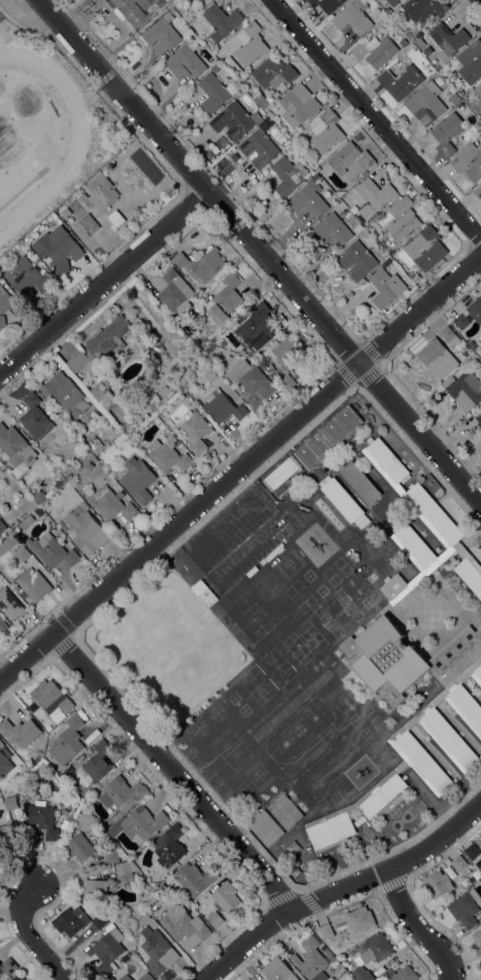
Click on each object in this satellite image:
building: (183, 0)
road: (480, 0)
building: (188, 1)
building: (159, 2)
building: (392, 2)
building: (327, 5)
building: (423, 9)
building: (130, 10)
building: (353, 18)
building: (222, 21)
building: (161, 35)
building: (447, 40)
building: (403, 43)
building: (250, 44)
power tower: (128, 51)
building: (375, 52)
building: (186, 60)
building: (471, 62)
building: (215, 67)
building: (274, 72)
building: (401, 82)
building: (478, 91)
building: (215, 93)
building: (461, 93)
building: (454, 99)
building: (263, 100)
building: (426, 104)
building: (459, 105)
building: (299, 106)
road: (375, 120)
building: (480, 120)
building: (235, 121)
building: (326, 132)
building: (447, 134)
building: (259, 148)
building: (350, 160)
building: (469, 161)
building: (288, 176)
building: (315, 178)
building: (478, 191)
building: (99, 195)
building: (374, 197)
building: (308, 201)
building: (62, 212)
building: (116, 219)
building: (402, 219)
building: (85, 227)
building: (332, 230)
building: (365, 233)
building: (58, 249)
building: (426, 249)
road: (260, 251)
building: (357, 261)
building: (202, 265)
building: (27, 277)
building: (417, 279)
road: (104, 282)
building: (386, 288)
building: (176, 294)
building: (5, 300)
building: (225, 300)
building: (475, 310)
building: (240, 311)
building: (2, 322)
building: (462, 322)
building: (256, 328)
building: (448, 336)
building: (203, 338)
building: (480, 338)
building: (102, 344)
building: (202, 344)
building: (473, 345)
building: (161, 349)
building: (270, 349)
building: (207, 350)
building: (242, 352)
building: (287, 352)
building: (434, 356)
building: (208, 374)
building: (279, 376)
building: (252, 384)
building: (178, 385)
building: (465, 390)
building: (65, 394)
building: (104, 396)
building: (223, 407)
building: (35, 418)
building: (479, 421)
building: (196, 431)
building: (329, 437)
building: (175, 442)
building: (95, 443)
building: (17, 452)
building: (168, 457)
building: (387, 460)
road: (240, 469)
building: (282, 473)
building: (68, 476)
building: (136, 479)
building: (360, 483)
building: (342, 500)
building: (111, 504)
building: (44, 506)
building: (420, 514)
building: (434, 514)
building: (15, 523)
building: (2, 527)
building: (85, 531)
building: (10, 537)
building: (416, 546)
building: (21, 552)
building: (54, 552)
building: (470, 575)
building: (34, 585)
building: (394, 587)
building: (199, 588)
building: (24, 595)
building: (10, 605)
building: (480, 625)
building: (3, 626)
building: (401, 657)
building: (46, 693)
building: (65, 706)
building: (20, 732)
building: (67, 742)
building: (4, 760)
building: (412, 761)
building: (97, 764)
road: (171, 771)
building: (0, 794)
building: (122, 794)
building: (10, 802)
building: (285, 812)
building: (70, 818)
building: (43, 819)
building: (139, 825)
building: (266, 828)
building: (9, 836)
building: (480, 836)
building: (79, 847)
building: (169, 847)
building: (472, 851)
building: (111, 857)
building: (459, 863)
building: (479, 863)
building: (125, 871)
building: (195, 879)
building: (438, 884)
building: (163, 889)
road: (341, 889)
building: (95, 891)
building: (154, 894)
building: (225, 898)
building: (465, 908)
building: (215, 920)
building: (359, 920)
building: (99, 921)
building: (147, 921)
building: (70, 922)
building: (183, 925)
road: (415, 928)
building: (326, 931)
road: (29, 937)
building: (477, 939)
building: (107, 951)
building: (158, 951)
building: (327, 954)
building: (372, 955)
building: (311, 960)
building: (8, 967)
building: (394, 967)
building: (278, 971)
building: (405, 974)
building: (125, 977)
building: (146, 977)
building: (18, 978)

